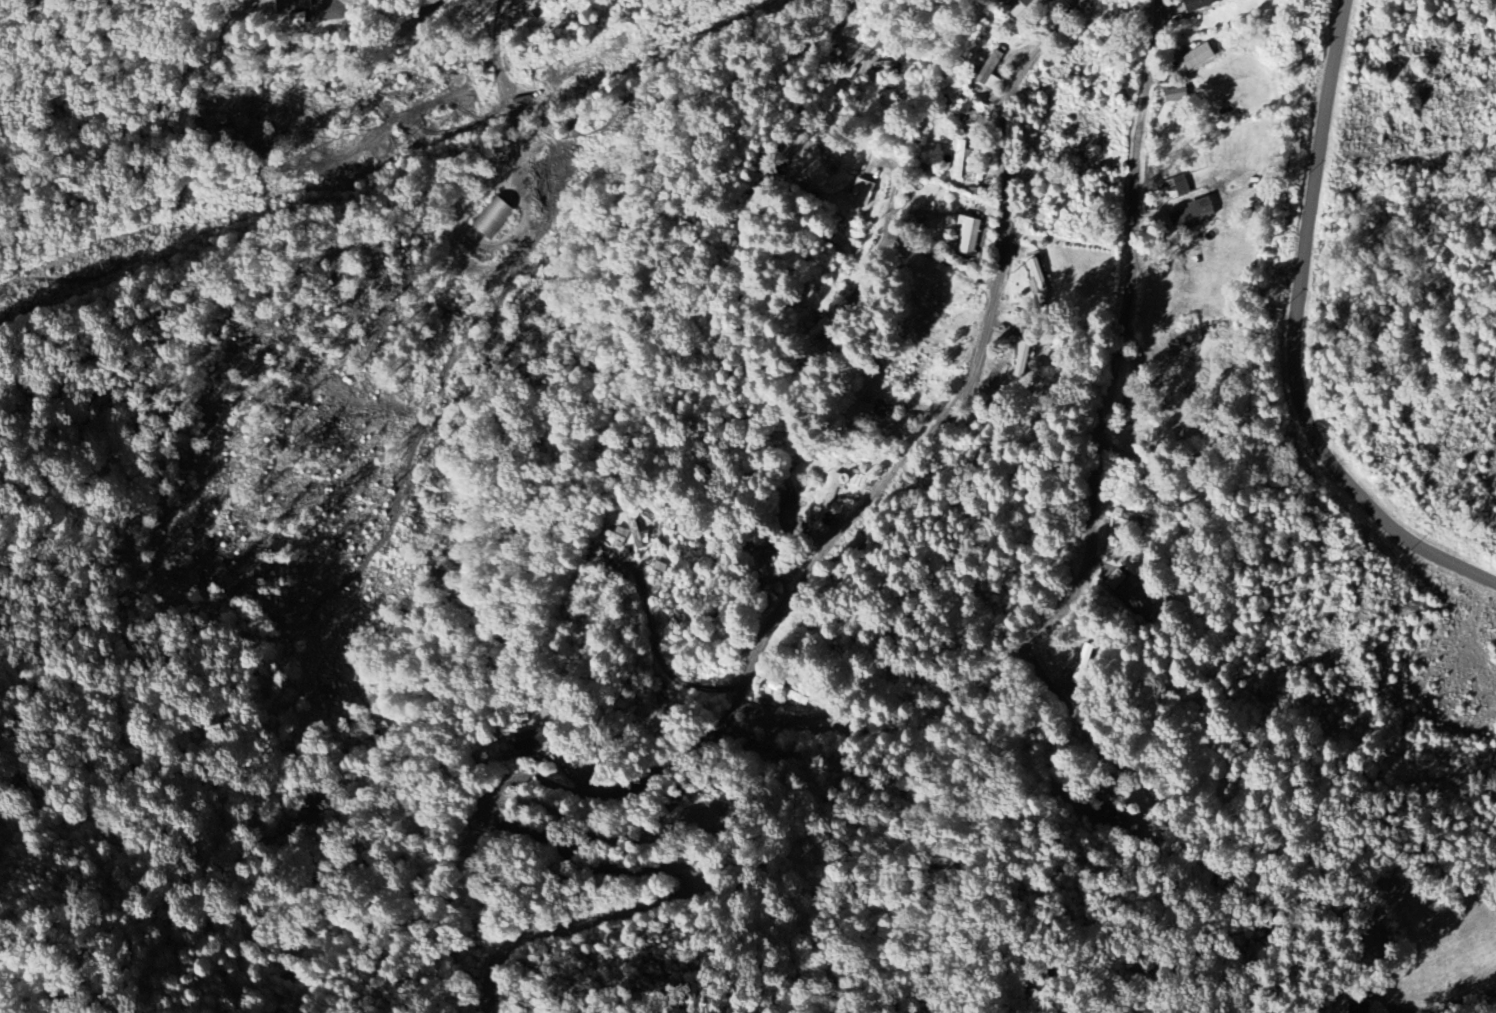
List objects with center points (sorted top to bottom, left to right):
building: (1200, 4)
road: (333, 14)
road: (655, 43)
building: (1198, 56)
building: (991, 71)
building: (1176, 95)
building: (961, 157)
building: (1182, 185)
building: (863, 191)
building: (1192, 215)
building: (493, 217)
building: (916, 219)
road: (901, 237)
building: (970, 237)
building: (1039, 278)
building: (819, 328)
road: (1295, 336)
road: (1126, 338)
building: (1023, 359)
building: (869, 408)
building: (834, 490)
building: (615, 534)
building: (1135, 598)
building: (1083, 663)
building: (789, 692)
road: (734, 701)
road: (779, 723)
building: (534, 738)
road: (1089, 738)
road: (1437, 1007)

